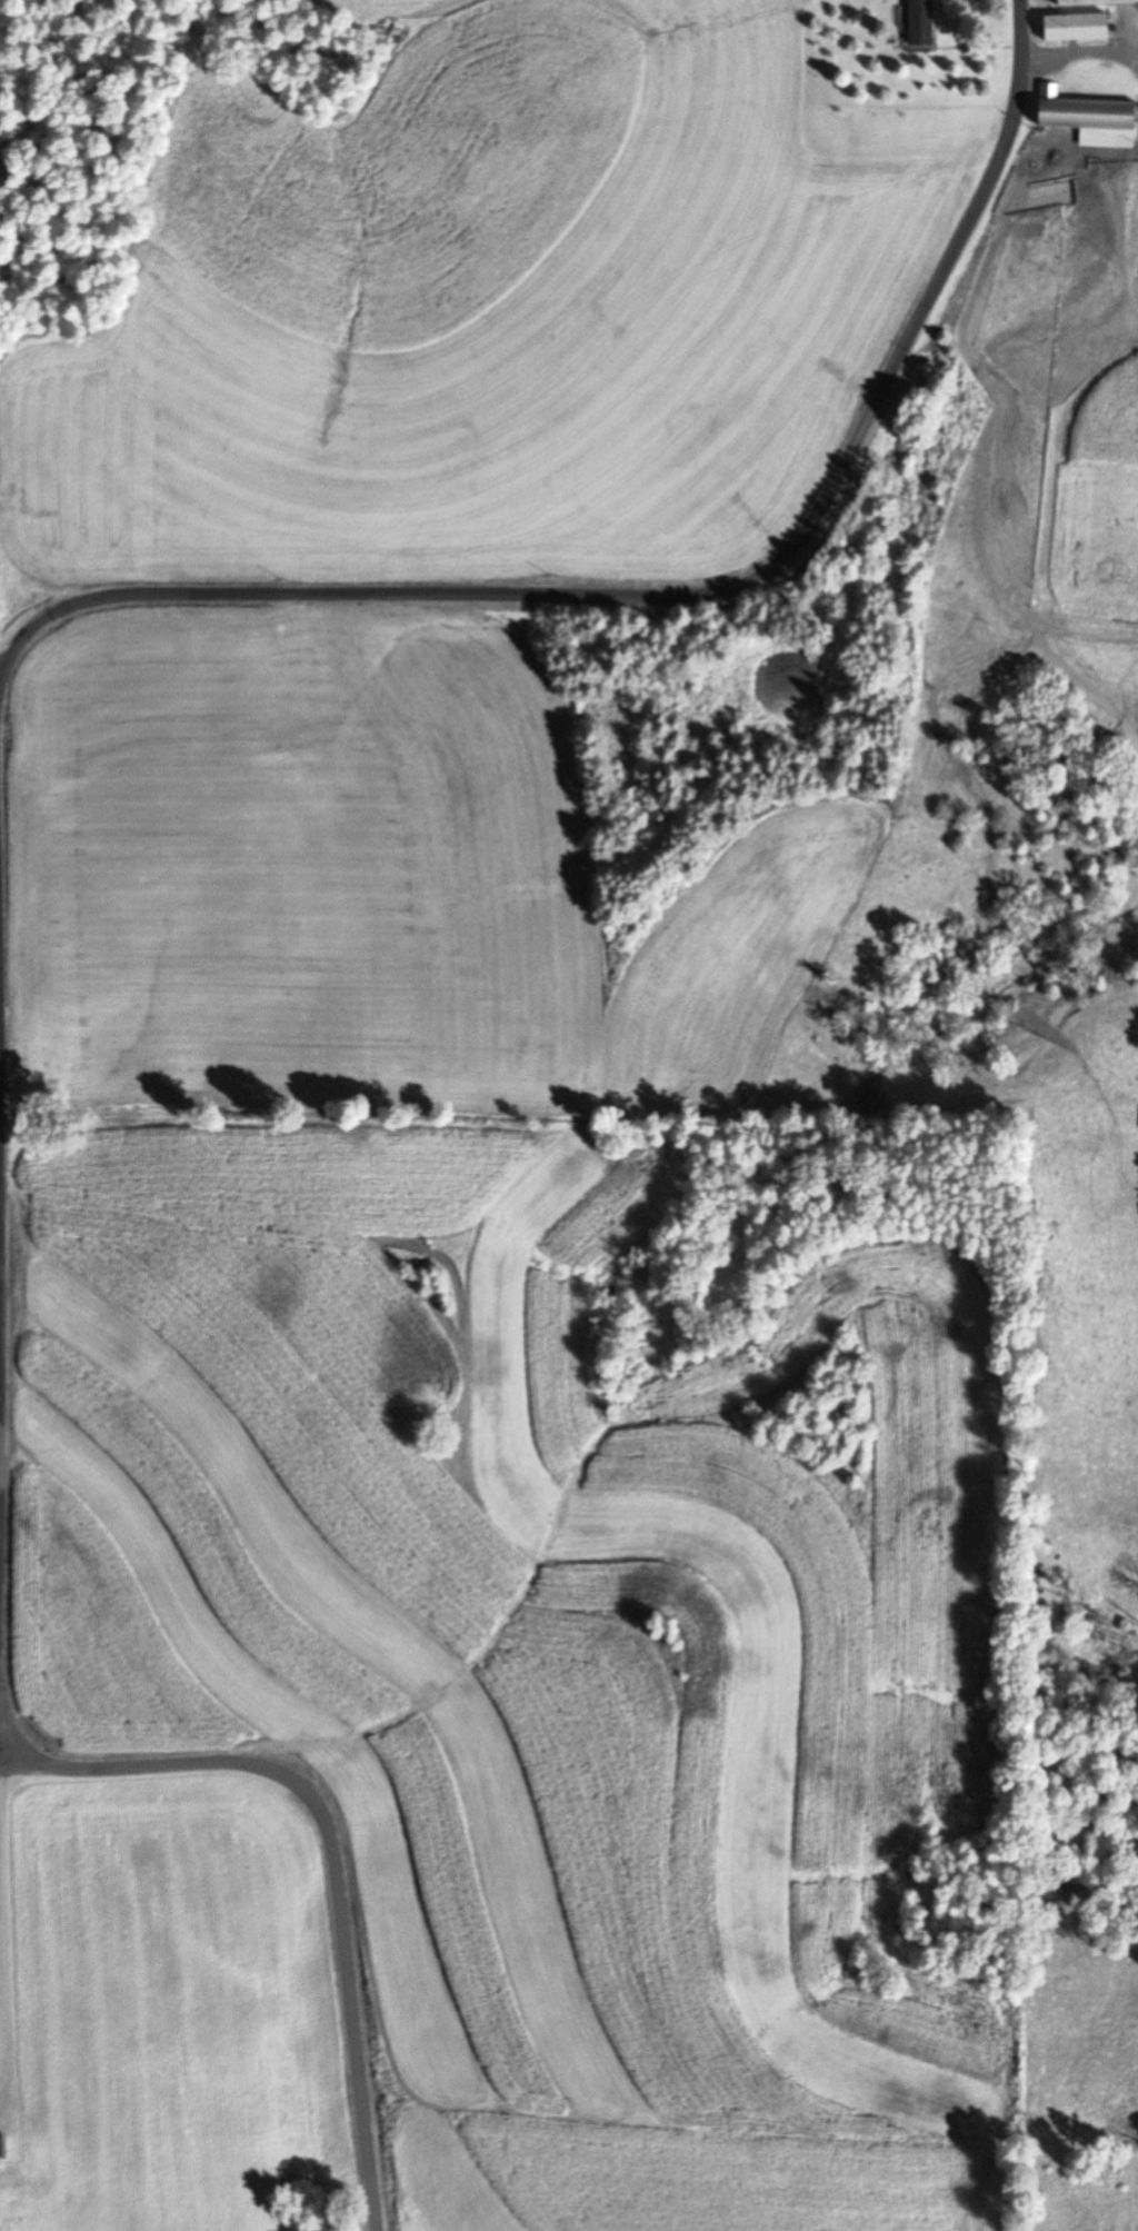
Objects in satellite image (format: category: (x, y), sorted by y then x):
building: (1094, 2)
building: (920, 22)
building: (1076, 27)
building: (1089, 118)
road: (681, 598)
road: (1, 1033)
road: (1, 1095)
road: (2, 1422)
road: (335, 1853)
road: (1, 1959)
road: (1, 2079)

